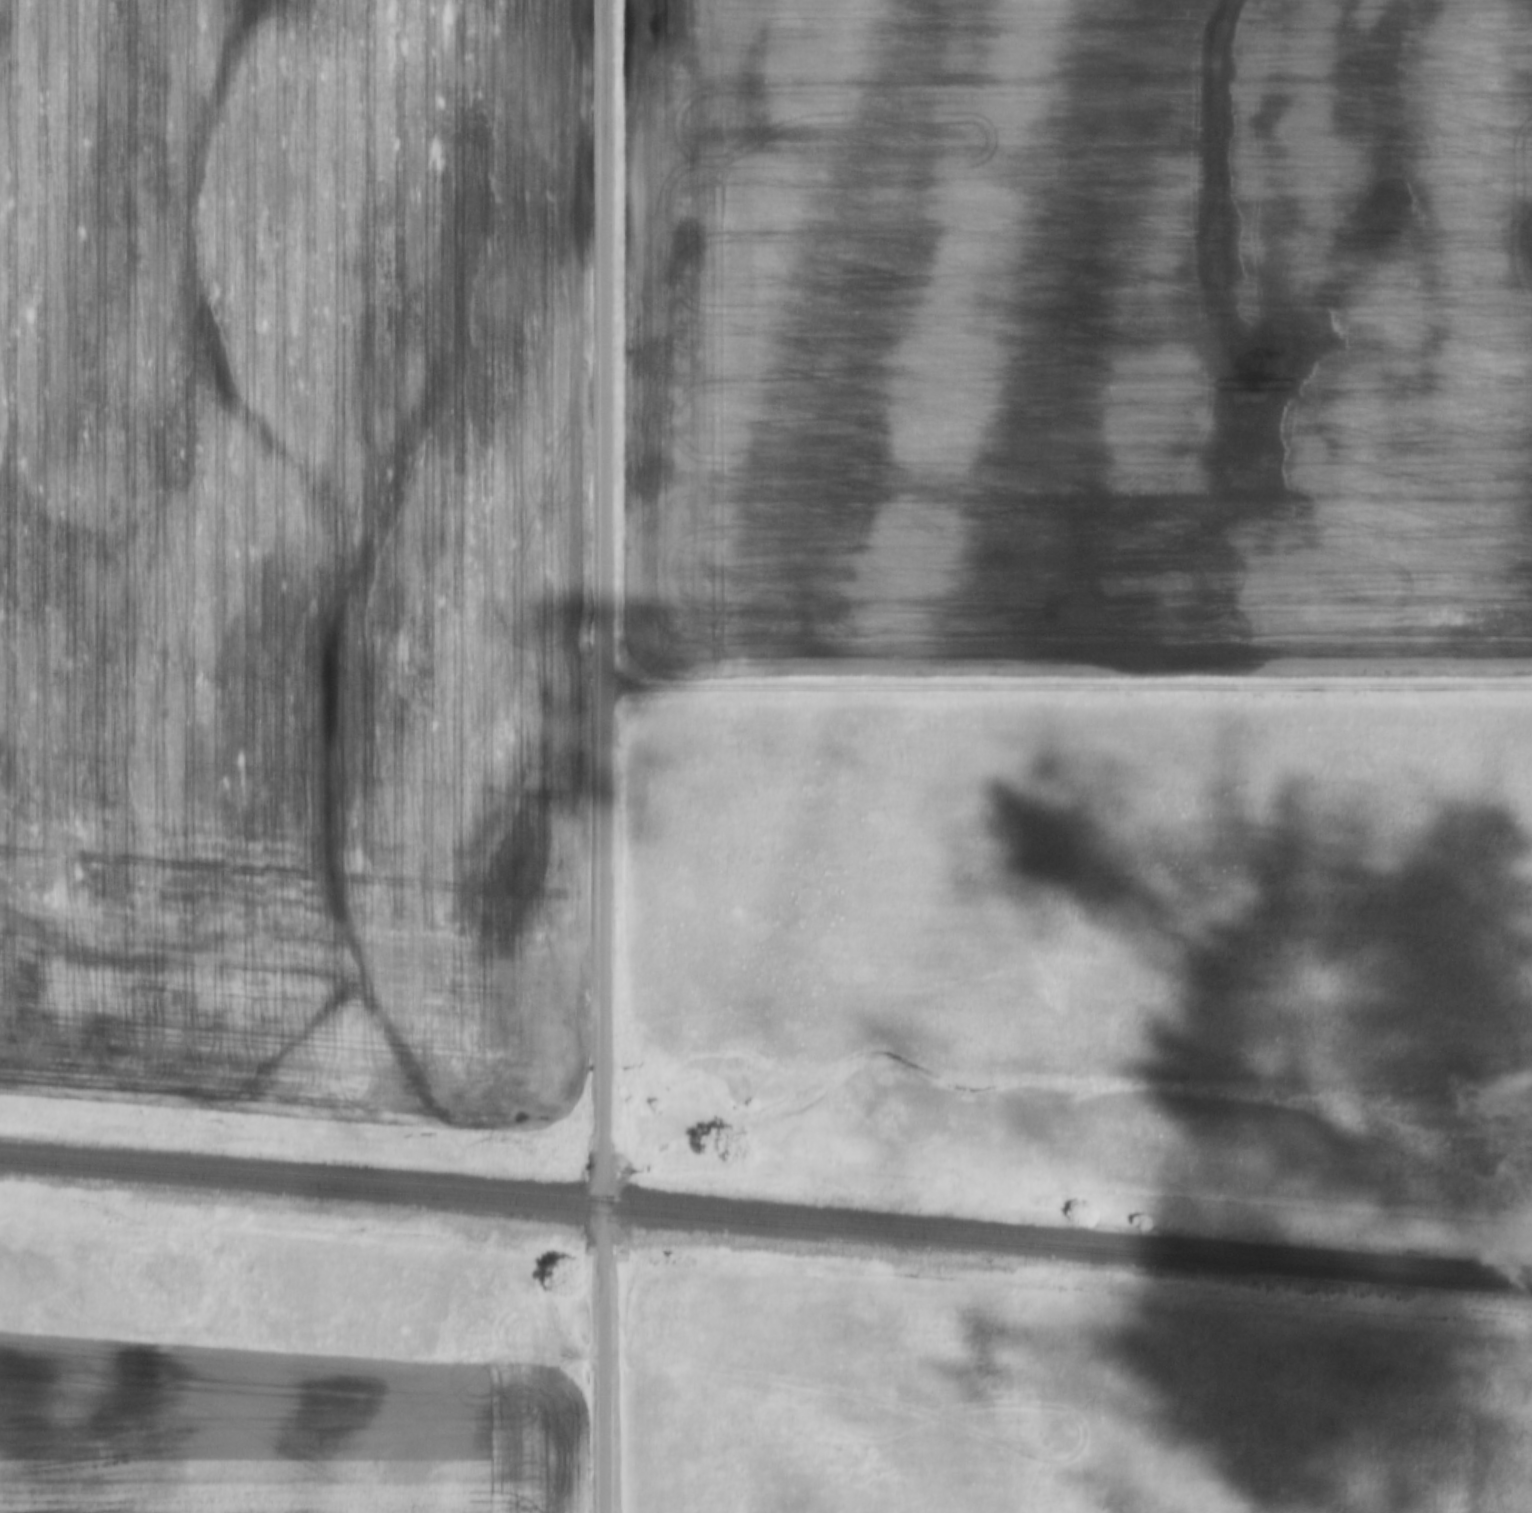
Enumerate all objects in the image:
road: (1070, 683)
road: (608, 756)
railway: (766, 1210)
railway: (766, 1222)

